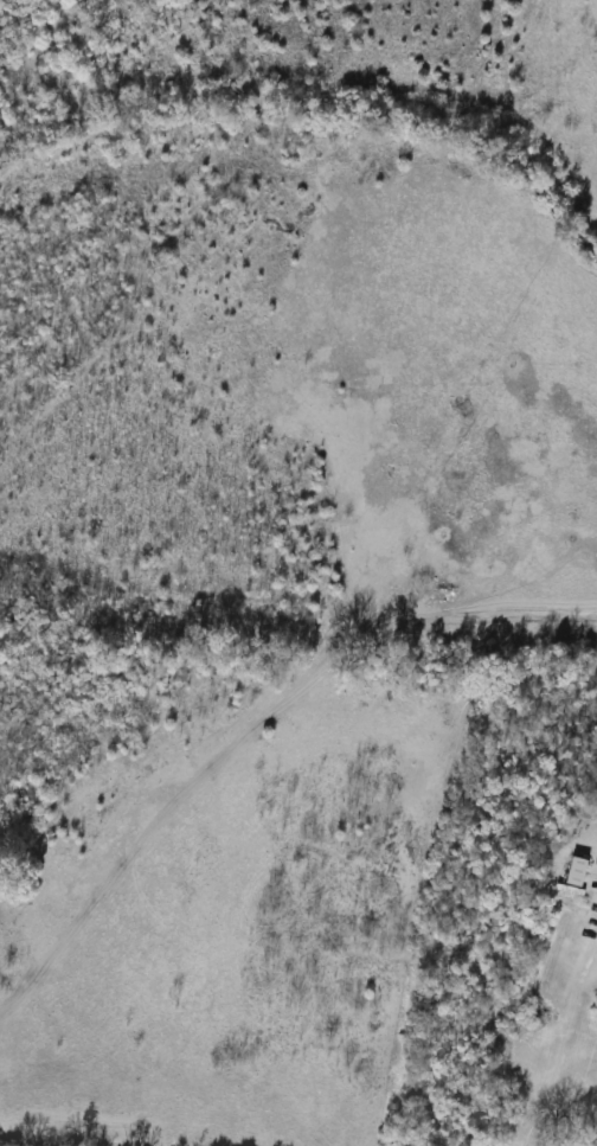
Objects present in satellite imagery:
road: (596, 922)

